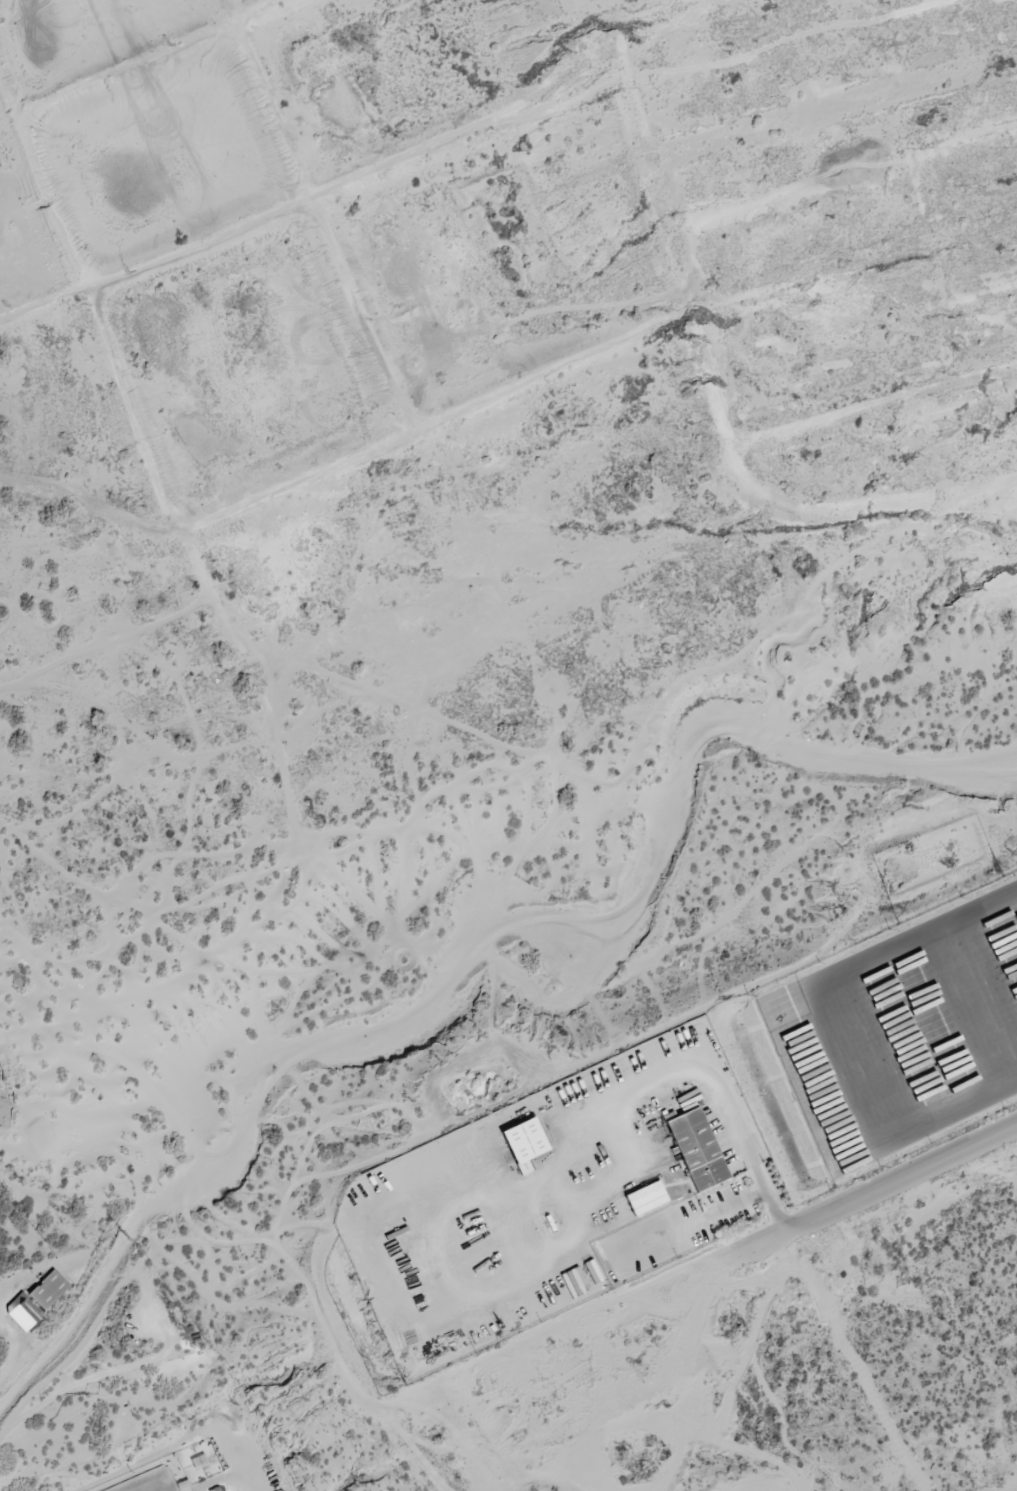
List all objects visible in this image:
building: (524, 1144)
building: (696, 1149)
road: (878, 1181)
building: (646, 1198)
building: (48, 1291)
building: (29, 1311)
road: (15, 1348)

